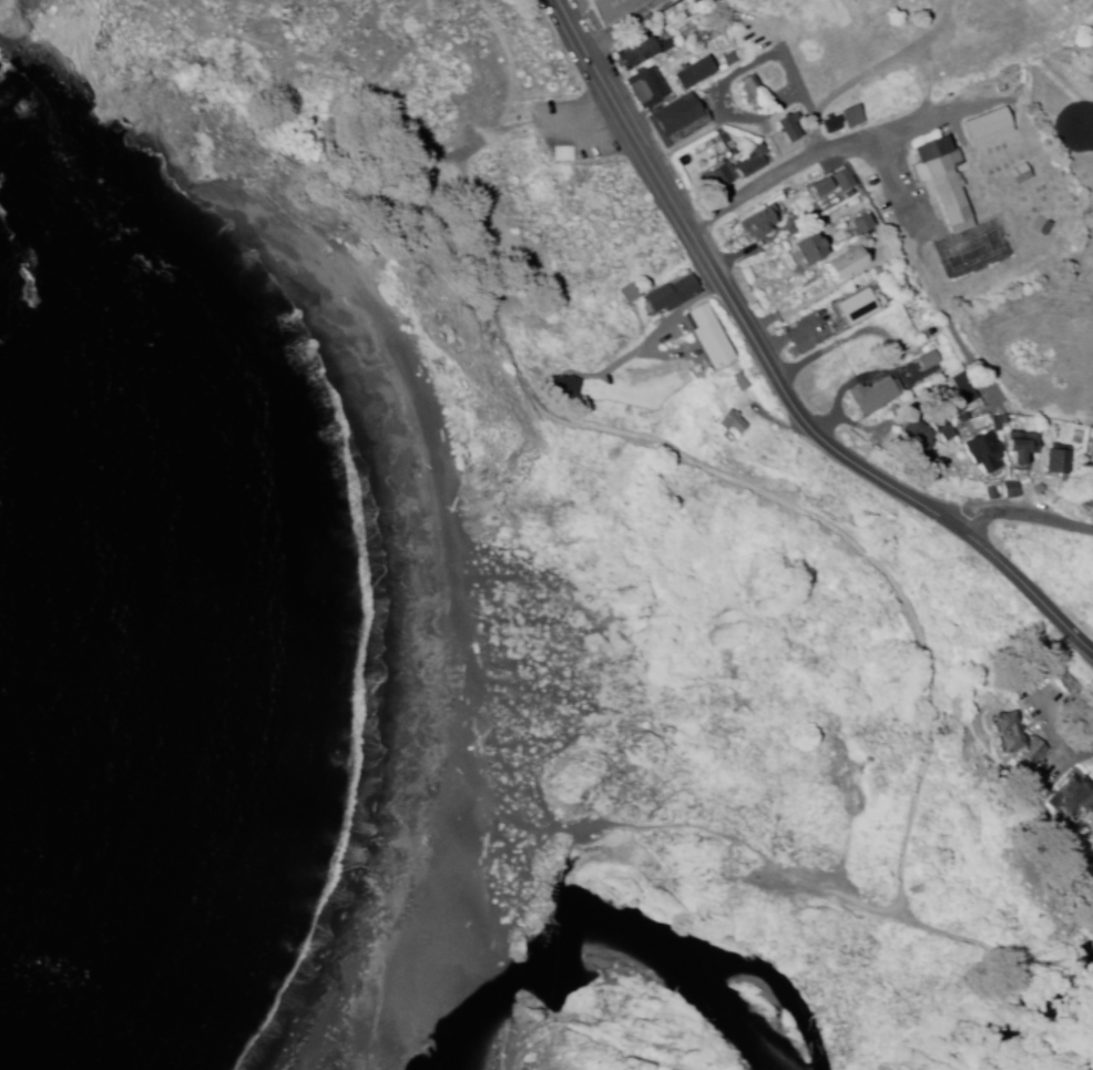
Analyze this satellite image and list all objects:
building: (612, 9)
building: (643, 53)
building: (694, 73)
road: (313, 81)
building: (646, 89)
building: (749, 92)
building: (851, 118)
road: (813, 120)
building: (678, 121)
road: (583, 123)
building: (832, 126)
building: (991, 128)
building: (789, 129)
road: (1089, 129)
road: (529, 132)
parking lot: (578, 132)
road: (806, 160)
building: (736, 170)
building: (943, 183)
building: (757, 225)
building: (860, 225)
building: (808, 251)
building: (845, 265)
road: (931, 279)
building: (629, 295)
building: (670, 295)
building: (856, 308)
building: (709, 338)
building: (928, 363)
road: (767, 378)
building: (562, 387)
building: (967, 389)
road: (750, 397)
building: (877, 397)
road: (755, 405)
building: (731, 427)
building: (925, 437)
building: (1021, 450)
building: (1092, 451)
building: (984, 456)
building: (1058, 461)
road: (744, 497)
road: (1017, 512)
road: (911, 529)
park: (596, 598)
building: (1015, 738)
parking lot: (1055, 767)
building: (1071, 801)
road: (851, 825)
road: (724, 836)

